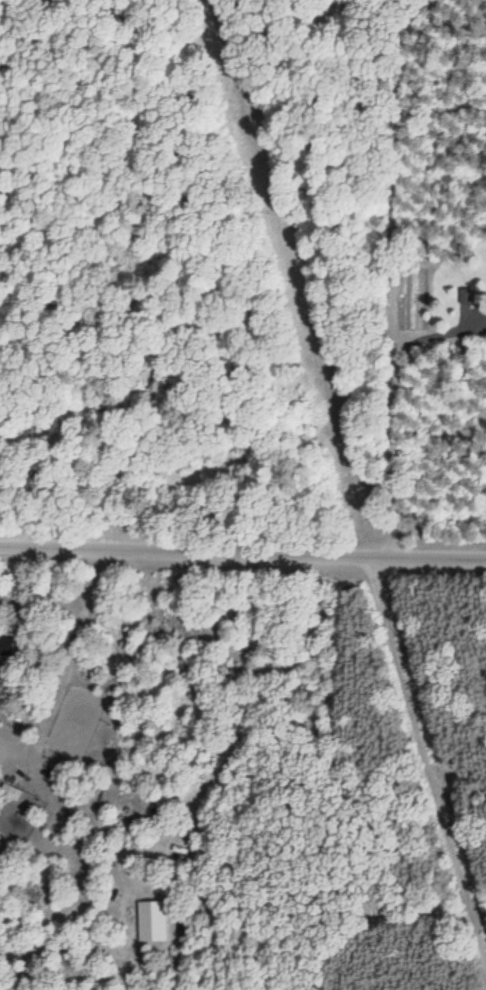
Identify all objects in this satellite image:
road: (242, 543)
building: (6, 644)
building: (58, 821)

